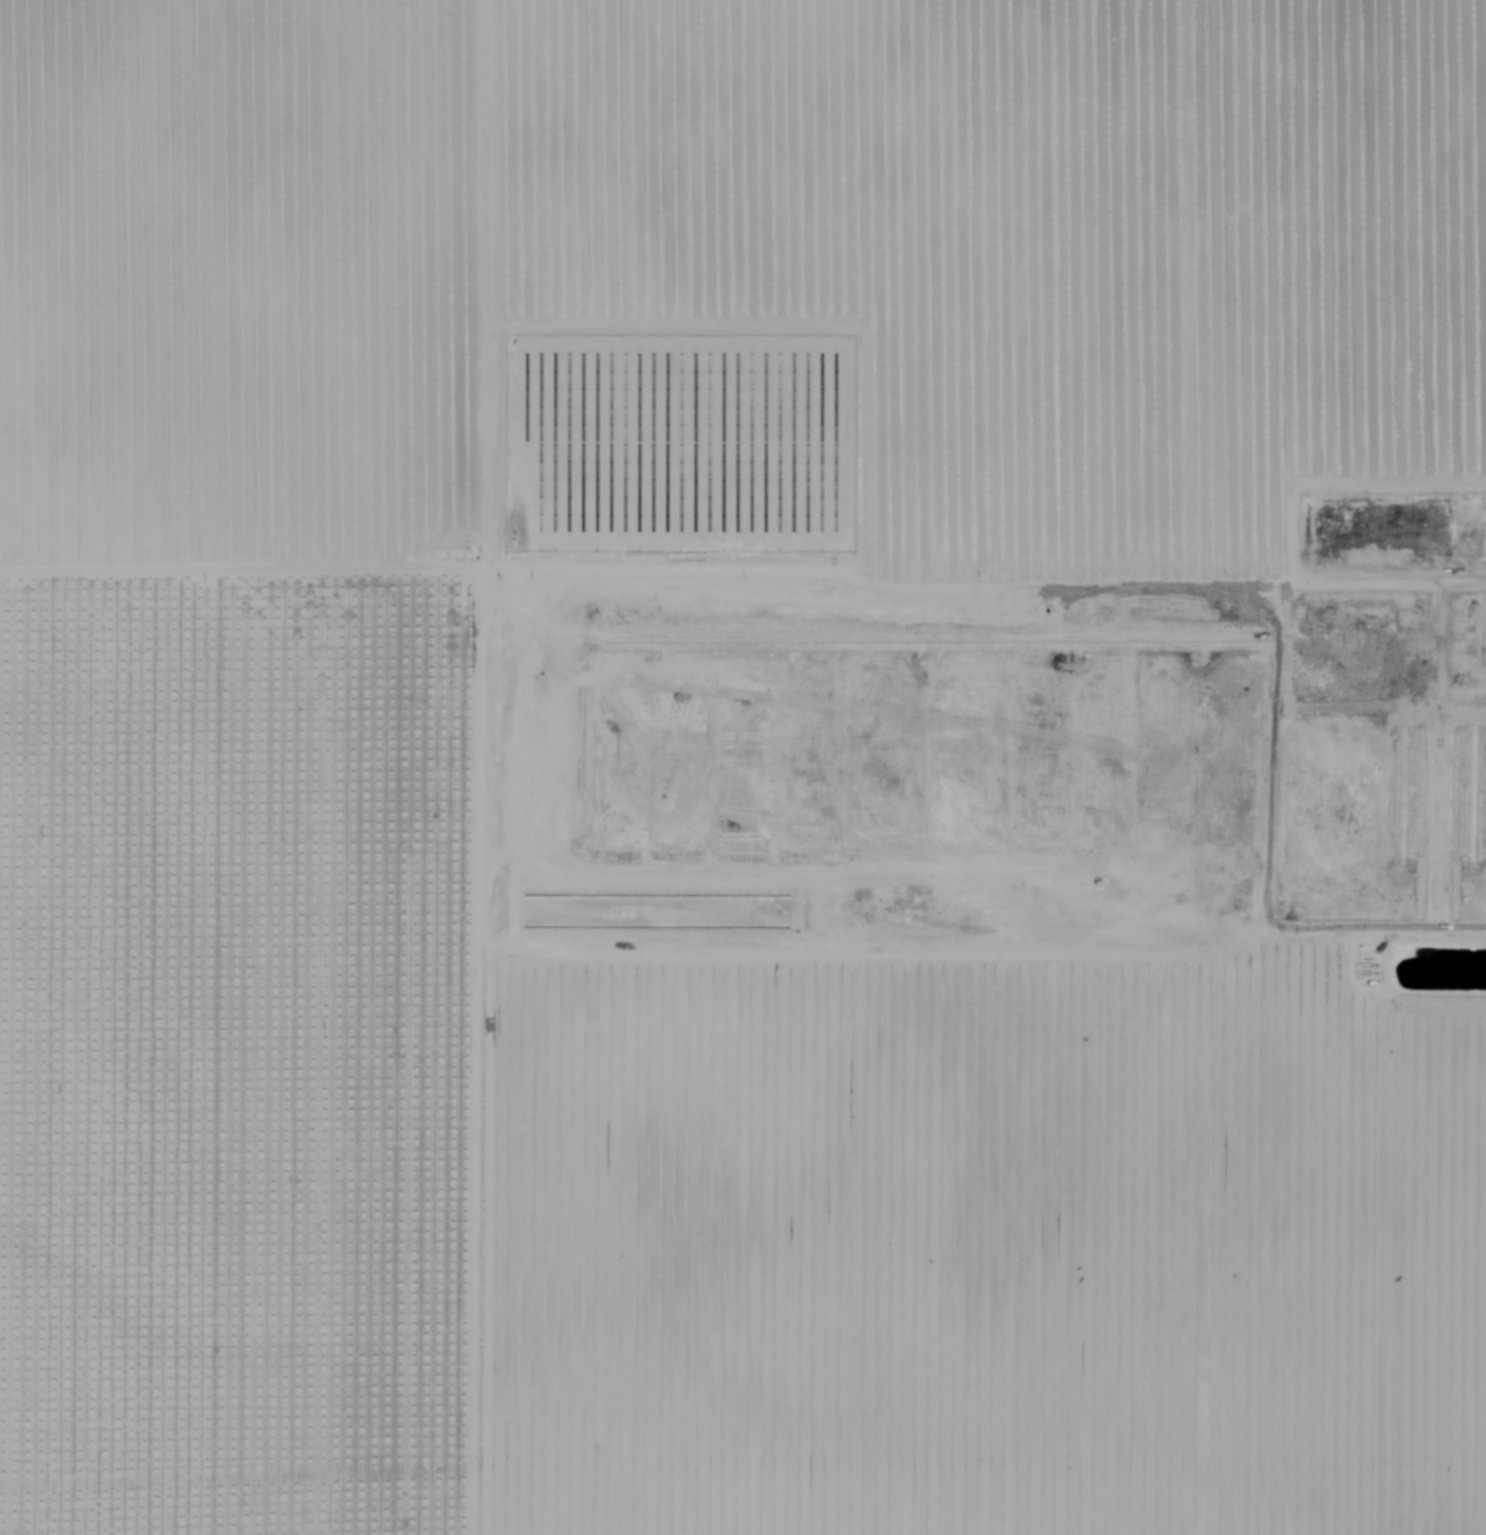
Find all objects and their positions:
solar farm: (679, 443)
building: (1483, 541)
building: (1170, 611)
building: (1482, 647)
building: (1391, 674)
road: (1270, 758)
crop: (244, 773)
building: (1432, 808)

